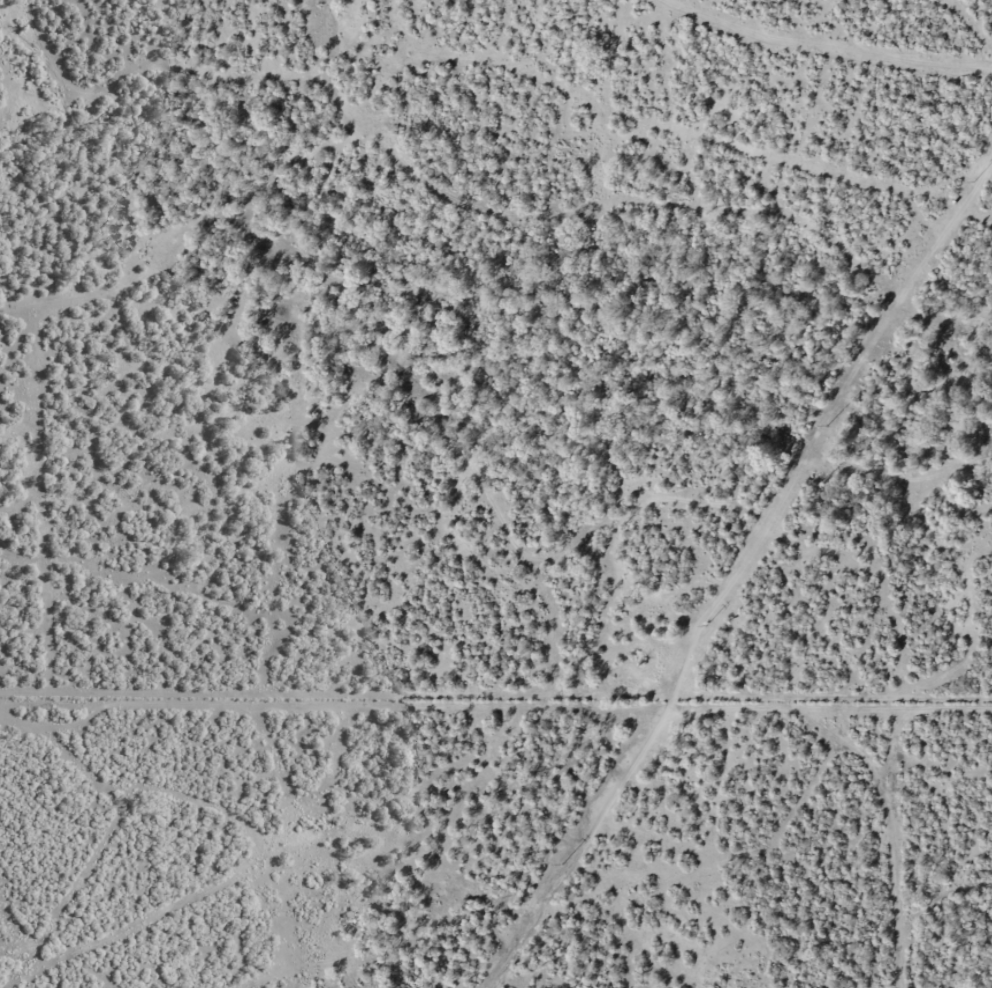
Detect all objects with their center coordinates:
power tower: (974, 183)
power tower: (826, 426)
power tower: (705, 626)
power tower: (561, 865)

